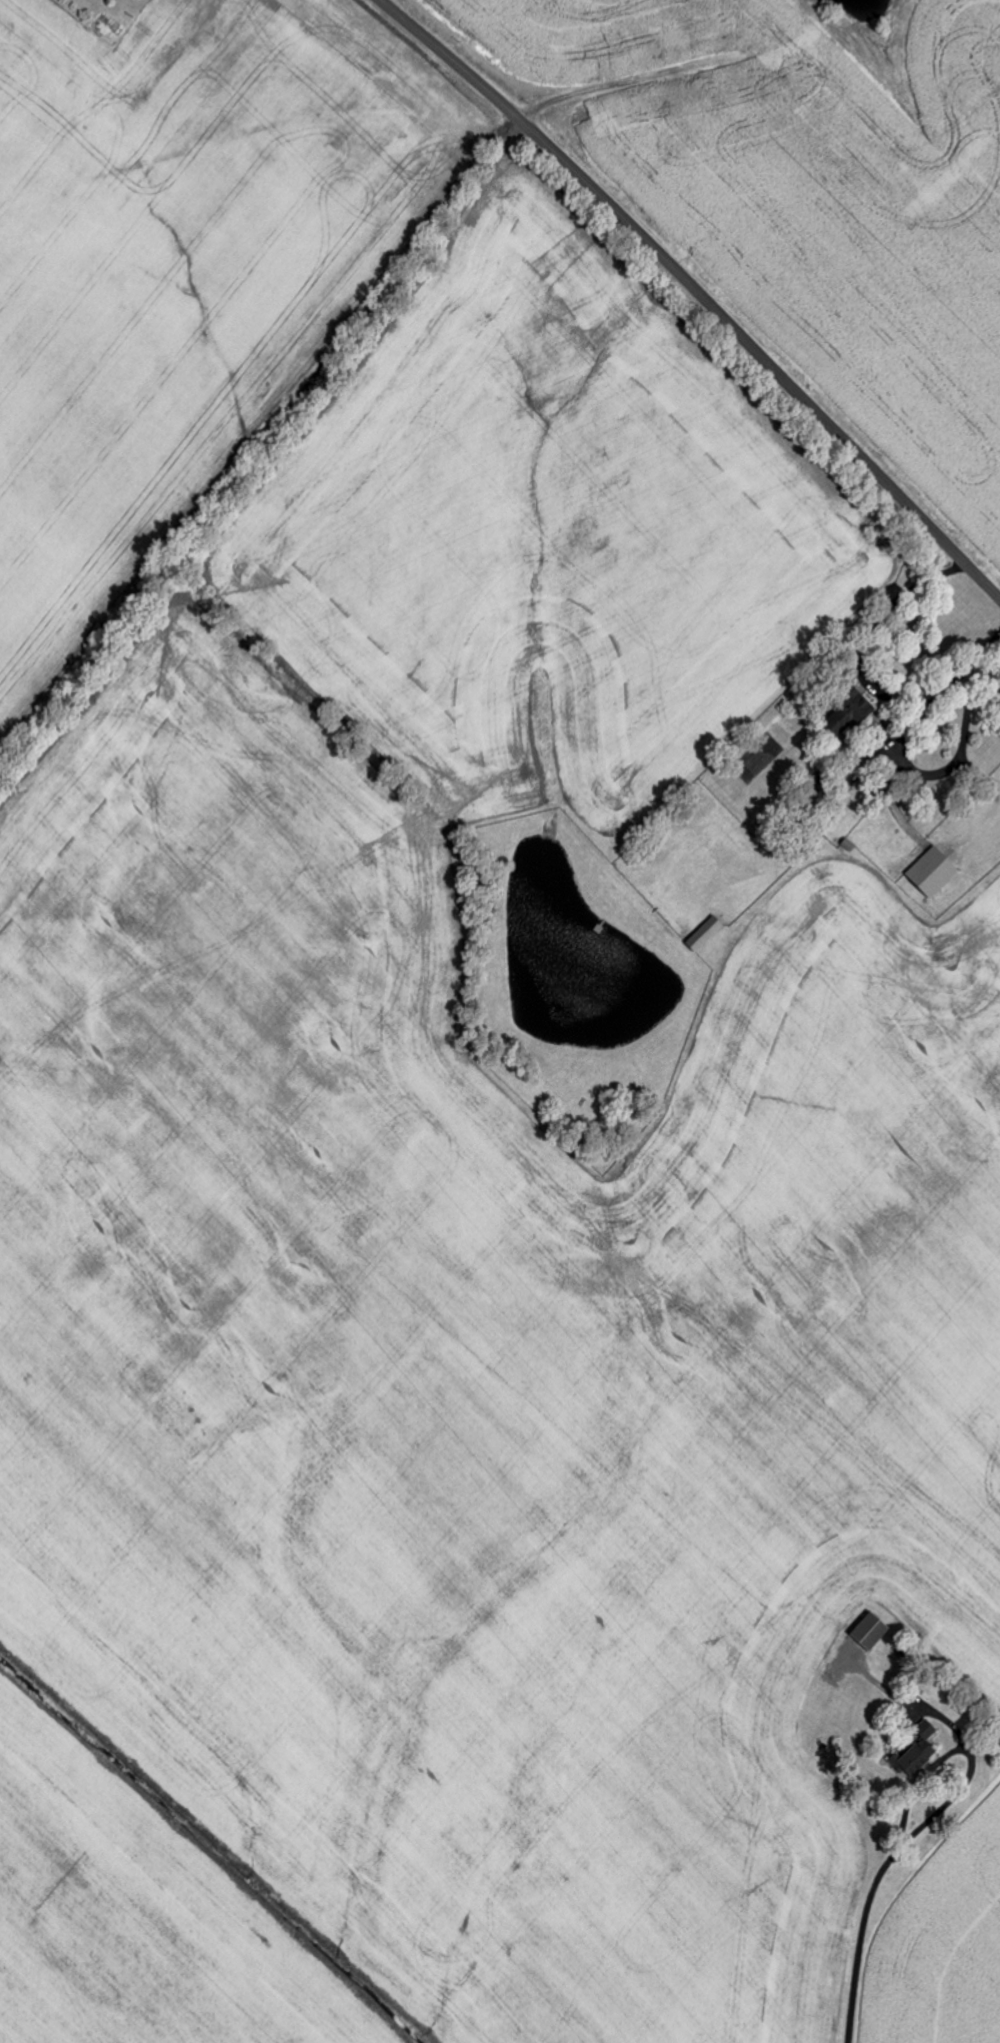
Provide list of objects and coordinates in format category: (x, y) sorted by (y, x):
road: (697, 292)
building: (866, 704)
building: (936, 872)
building: (874, 1631)
building: (929, 1729)
building: (919, 1758)
road: (876, 1884)

